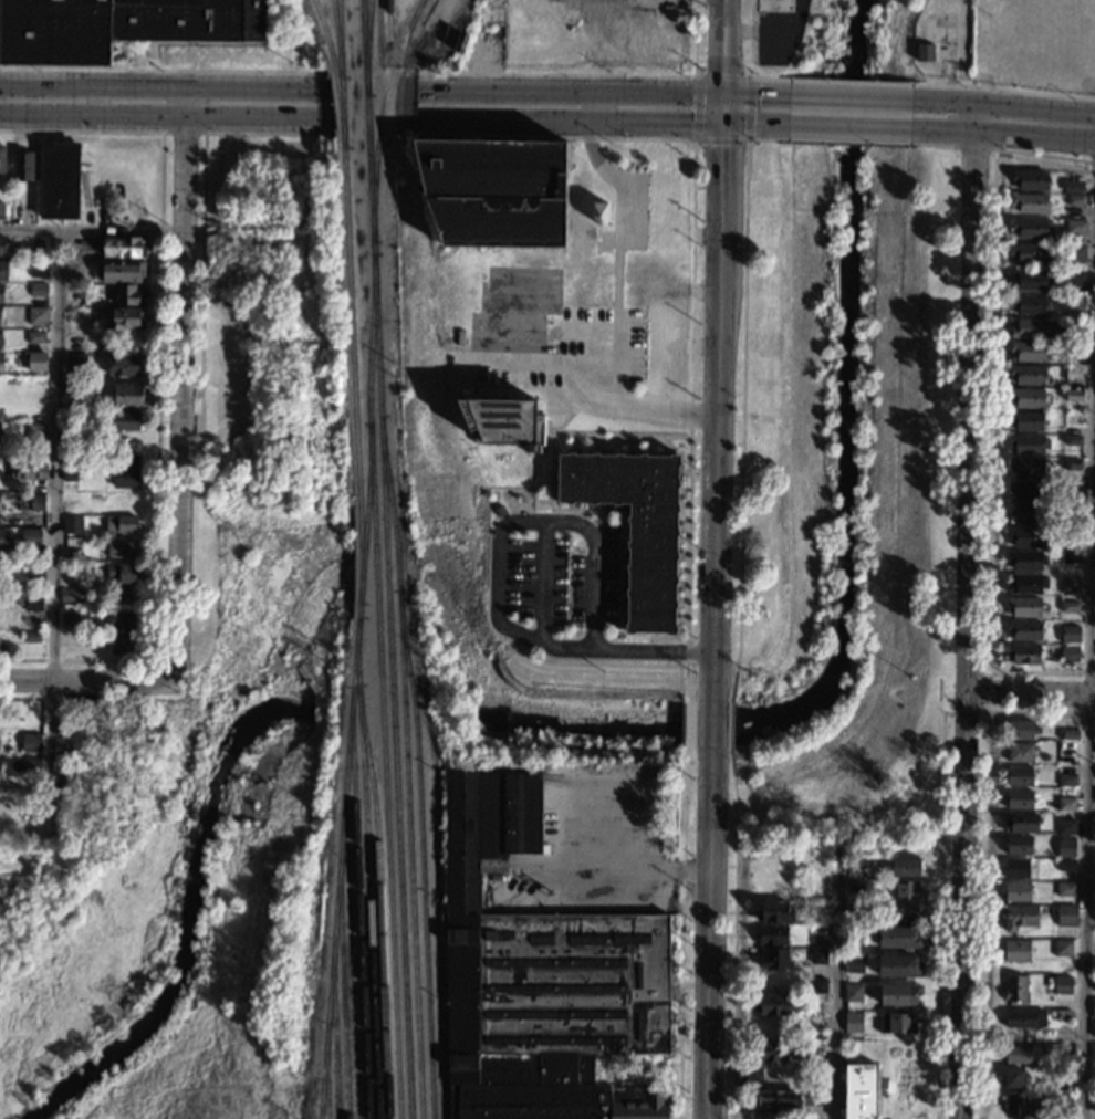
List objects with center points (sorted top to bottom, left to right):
building: (774, 6)
building: (497, 12)
railway: (386, 21)
building: (118, 25)
road: (773, 32)
railway: (407, 33)
railway: (325, 34)
railway: (363, 34)
railway: (336, 38)
railway: (367, 46)
road: (723, 48)
building: (925, 52)
road: (163, 70)
traffic signals: (723, 71)
railway: (340, 74)
road: (594, 74)
road: (748, 76)
road: (768, 79)
road: (849, 82)
road: (165, 88)
road: (1003, 88)
road: (570, 93)
road: (758, 97)
traffic signals: (759, 97)
road: (852, 100)
railway: (383, 102)
road: (943, 102)
railway: (366, 103)
railway: (337, 108)
road: (1023, 109)
road: (723, 111)
road: (977, 117)
road: (166, 122)
road: (570, 124)
traffic signals: (689, 126)
road: (757, 127)
road: (1081, 127)
road: (851, 128)
road: (943, 129)
road: (182, 133)
road: (1021, 133)
road: (849, 140)
road: (931, 144)
road: (973, 146)
traffic signals: (722, 147)
building: (2, 159)
building: (22, 165)
building: (1029, 178)
building: (60, 180)
park: (212, 180)
building: (1073, 187)
railway: (375, 190)
building: (496, 190)
railway: (369, 196)
building: (1074, 199)
building: (1029, 202)
building: (1, 210)
building: (601, 212)
road: (201, 219)
building: (1074, 226)
building: (1030, 227)
road: (93, 232)
building: (2, 247)
building: (122, 248)
building: (1030, 251)
building: (1075, 251)
road: (616, 255)
building: (38, 269)
building: (3, 271)
building: (122, 272)
building: (1075, 278)
building: (1030, 279)
road: (690, 283)
building: (38, 290)
building: (73, 293)
building: (0, 294)
building: (87, 294)
building: (129, 295)
building: (1074, 300)
building: (1030, 303)
building: (0, 315)
building: (36, 316)
building: (126, 318)
building: (1050, 321)
building: (1029, 328)
building: (0, 338)
building: (34, 338)
building: (74, 344)
building: (1026, 351)
building: (35, 362)
building: (1, 363)
building: (75, 363)
building: (124, 365)
building: (1026, 373)
road: (184, 385)
building: (3, 388)
road: (544, 390)
road: (158, 393)
road: (599, 395)
building: (1072, 395)
building: (127, 396)
building: (1026, 397)
road: (742, 400)
road: (717, 414)
road: (972, 414)
road: (989, 414)
building: (1072, 418)
building: (1026, 420)
building: (122, 422)
building: (508, 423)
building: (0, 431)
building: (34, 432)
road: (582, 435)
building: (1072, 440)
building: (1026, 443)
park: (263, 458)
building: (1071, 464)
building: (1026, 467)
building: (28, 471)
building: (126, 472)
building: (69, 477)
building: (1026, 490)
building: (0, 493)
building: (71, 501)
building: (126, 502)
park: (843, 502)
building: (36, 503)
road: (586, 511)
building: (1072, 511)
railway: (364, 513)
building: (1026, 513)
building: (121, 524)
building: (72, 525)
building: (637, 527)
river: (843, 530)
building: (1025, 536)
building: (1072, 536)
building: (29, 537)
building: (1, 538)
road: (53, 547)
building: (119, 550)
building: (1070, 557)
building: (1024, 559)
road: (618, 566)
building: (32, 571)
building: (124, 573)
road: (497, 577)
parking lot: (534, 579)
road: (542, 581)
parking lot: (594, 581)
building: (1025, 584)
building: (1068, 584)
building: (71, 596)
building: (125, 598)
building: (33, 603)
building: (1022, 606)
building: (1068, 607)
building: (70, 619)
building: (122, 621)
building: (1023, 630)
railway: (355, 634)
building: (1070, 636)
building: (31, 638)
building: (122, 645)
building: (1023, 653)
building: (1067, 653)
road: (88, 679)
park: (535, 681)
railway: (380, 686)
railway: (392, 687)
road: (1032, 697)
road: (1091, 704)
road: (984, 712)
river: (393, 715)
road: (685, 724)
road: (730, 725)
road: (710, 726)
building: (1021, 729)
building: (1067, 733)
building: (31, 743)
building: (1020, 752)
building: (0, 764)
building: (30, 764)
railway: (405, 767)
building: (1019, 775)
building: (1066, 780)
building: (1019, 799)
building: (1065, 804)
building: (1021, 823)
building: (1065, 826)
building: (1018, 845)
building: (1065, 847)
building: (22, 854)
railway: (419, 855)
road: (982, 860)
building: (1065, 865)
building: (853, 866)
building: (904, 868)
building: (1094, 868)
railway: (366, 869)
building: (1016, 869)
building: (853, 886)
building: (0, 889)
building: (1065, 889)
building: (1094, 890)
building: (903, 891)
building: (1015, 892)
railway: (378, 901)
railway: (356, 902)
park: (160, 907)
road: (962, 907)
building: (853, 910)
building: (771, 912)
building: (820, 912)
building: (903, 914)
road: (939, 916)
building: (1094, 916)
building: (1066, 917)
river: (188, 918)
building: (1016, 918)
road: (708, 925)
road: (681, 933)
road: (732, 933)
building: (852, 935)
building: (771, 937)
building: (899, 938)
building: (1094, 938)
building: (1061, 950)
building: (1014, 951)
building: (816, 956)
building: (772, 960)
building: (1093, 961)
building: (852, 964)
building: (898, 966)
building: (539, 977)
building: (1093, 985)
railway: (342, 986)
building: (815, 986)
building: (1060, 986)
building: (1013, 989)
building: (852, 993)
building: (897, 995)
road: (834, 1001)
building: (770, 1005)
building: (1093, 1008)
building: (1061, 1015)
building: (1022, 1019)
building: (851, 1023)
building: (896, 1024)
railway: (334, 1028)
building: (1092, 1029)
building: (815, 1037)
building: (1051, 1047)
building: (815, 1050)
building: (770, 1052)
building: (1093, 1053)
building: (1015, 1056)
railway: (326, 1070)
building: (748, 1075)
building: (1012, 1078)
building: (1061, 1078)
building: (858, 1091)
building: (1092, 1101)
building: (775, 1102)
building: (1061, 1104)
building: (1013, 1105)
road: (706, 1109)
railway: (320, 1112)

